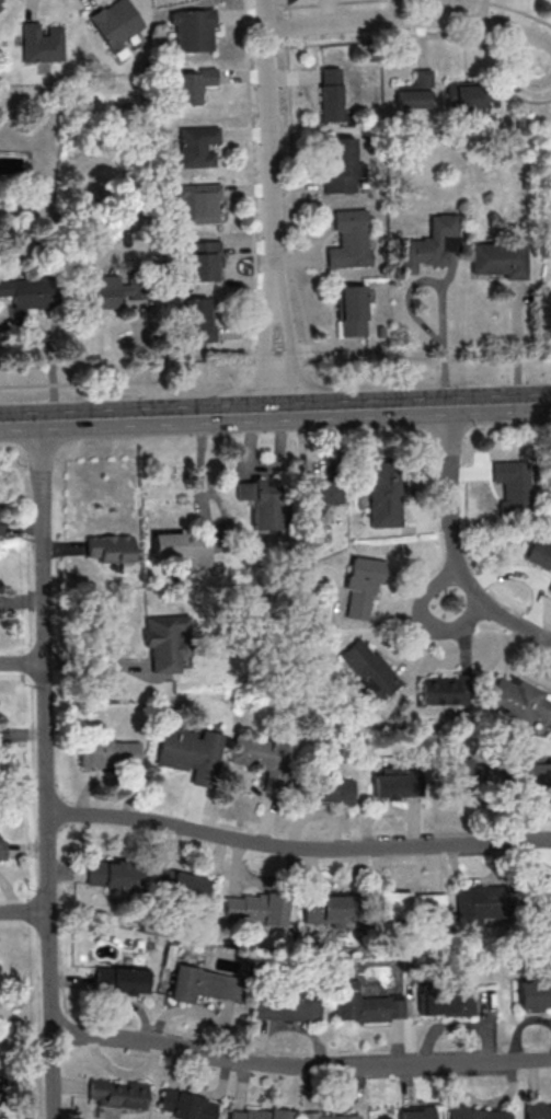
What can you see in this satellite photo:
building: (1, 3)
road: (418, 23)
building: (116, 26)
building: (192, 31)
building: (42, 43)
building: (195, 84)
building: (415, 91)
building: (331, 94)
building: (467, 97)
building: (195, 147)
building: (342, 166)
building: (198, 205)
road: (274, 205)
building: (348, 241)
building: (432, 244)
building: (500, 258)
building: (203, 262)
building: (27, 289)
building: (114, 290)
road: (440, 295)
building: (353, 311)
building: (197, 322)
road: (517, 345)
road: (275, 411)
building: (513, 491)
building: (324, 492)
building: (384, 494)
building: (261, 503)
building: (0, 527)
road: (455, 546)
building: (110, 549)
building: (183, 550)
building: (539, 555)
building: (360, 586)
building: (550, 590)
building: (0, 602)
road: (425, 621)
building: (165, 642)
road: (22, 666)
building: (370, 671)
building: (445, 691)
building: (520, 700)
building: (2, 729)
building: (190, 753)
building: (107, 754)
building: (263, 760)
road: (46, 770)
building: (537, 776)
building: (478, 781)
building: (397, 784)
building: (324, 792)
building: (2, 845)
road: (297, 847)
building: (114, 875)
building: (180, 888)
building: (539, 900)
building: (477, 901)
building: (402, 907)
building: (323, 909)
building: (255, 910)
road: (24, 911)
building: (0, 977)
building: (122, 980)
building: (200, 985)
building: (532, 995)
building: (445, 1003)
building: (285, 1005)
building: (363, 1005)
road: (299, 1068)
building: (2, 1093)
building: (117, 1094)
building: (185, 1106)
building: (416, 1112)
building: (544, 1112)
building: (474, 1114)
building: (260, 1115)
building: (334, 1117)

